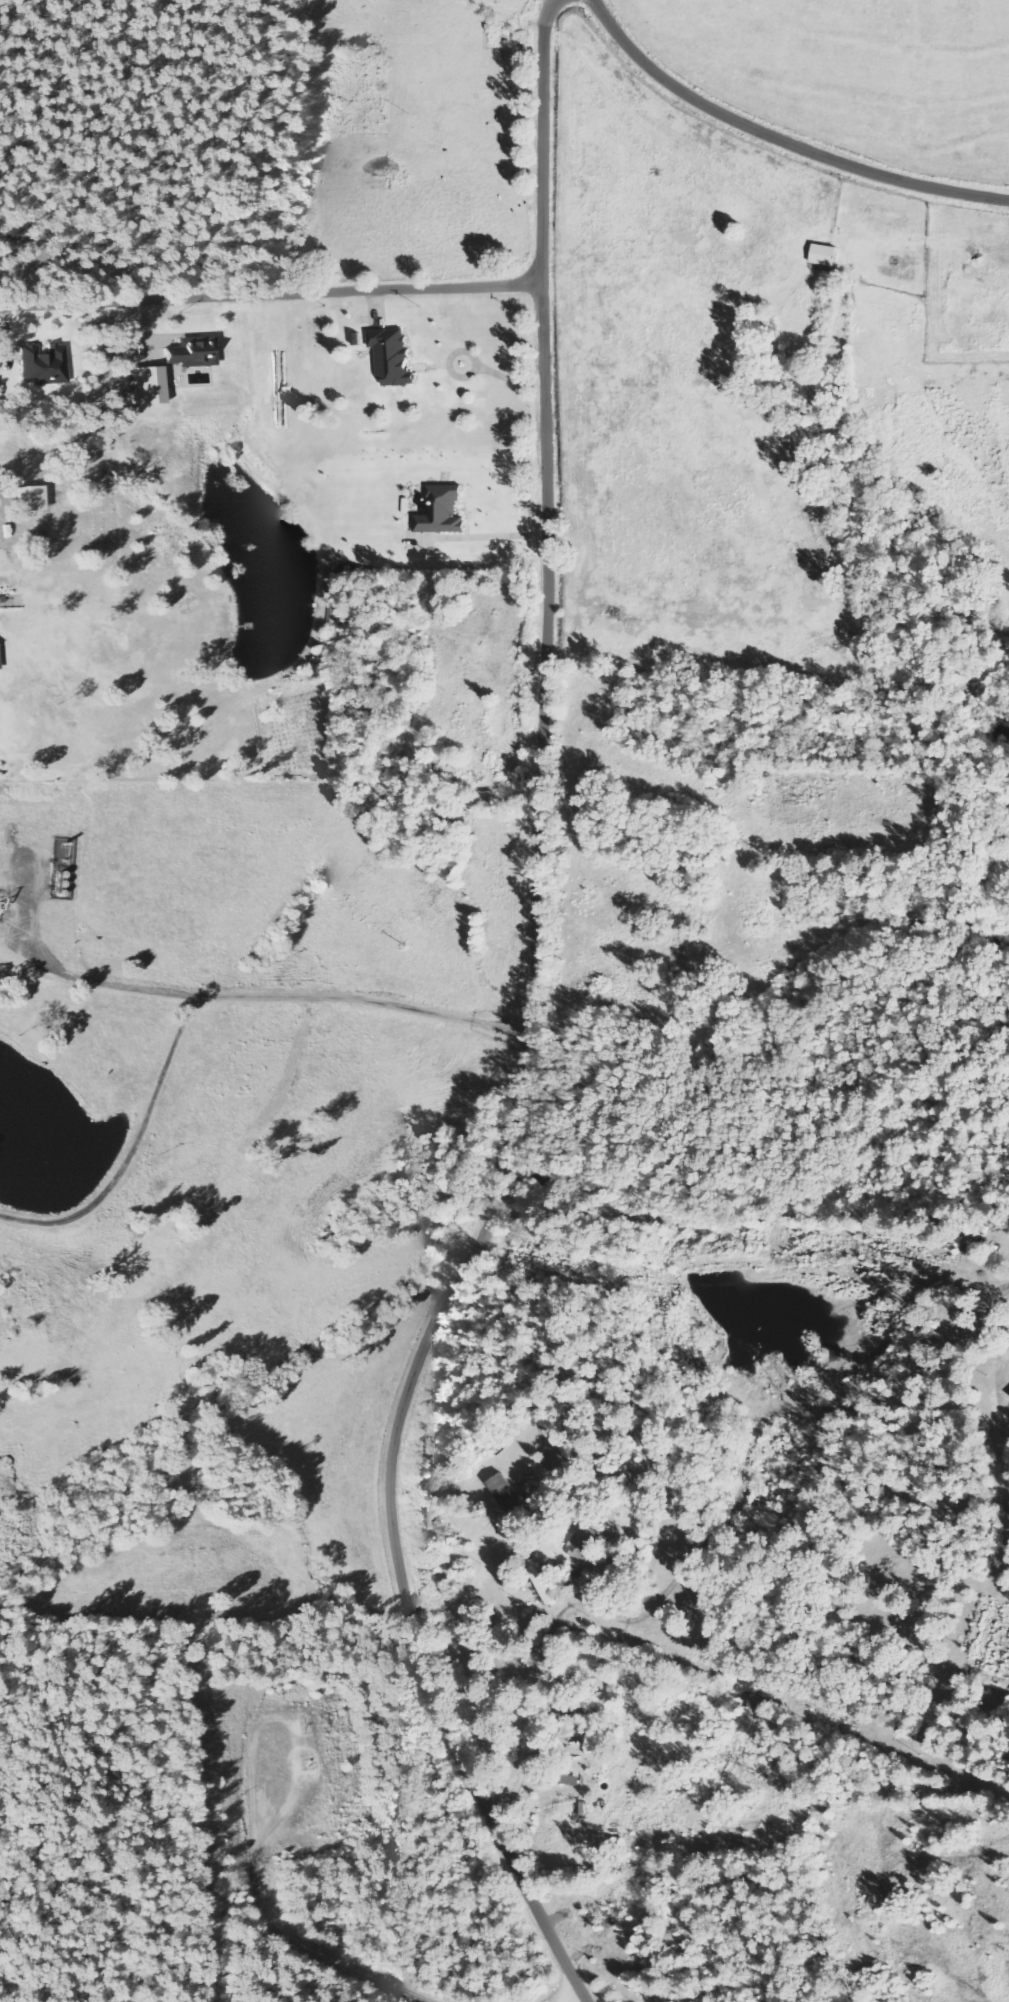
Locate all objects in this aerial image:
road: (779, 140)
building: (826, 254)
road: (271, 293)
building: (195, 354)
building: (394, 355)
building: (45, 364)
building: (148, 386)
building: (32, 499)
building: (443, 511)
building: (0, 666)
road: (237, 998)
road: (526, 1034)
road: (133, 1151)
building: (537, 1488)
building: (557, 1494)
building: (511, 1497)
road: (710, 1540)
building: (587, 1545)
building: (755, 1701)
building: (573, 1714)

